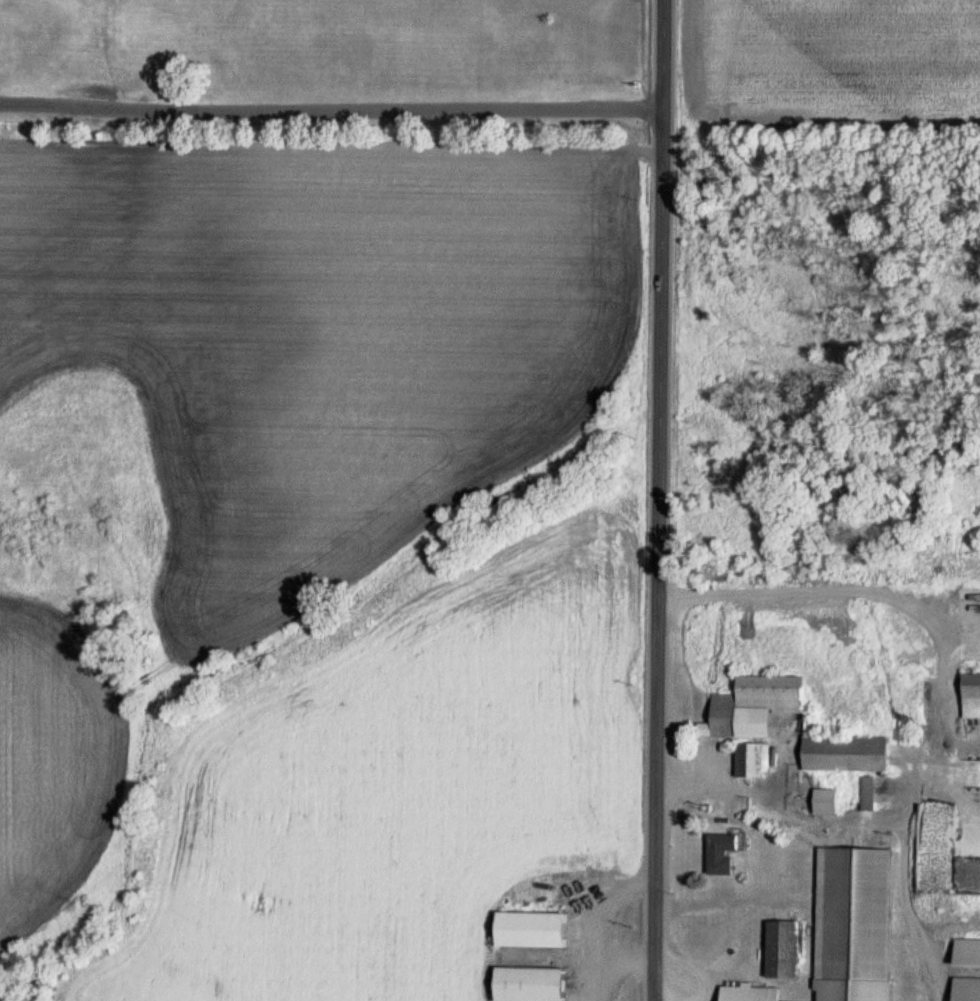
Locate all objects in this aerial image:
road: (330, 110)
road: (655, 500)
building: (968, 696)
road: (940, 705)
building: (748, 706)
building: (840, 754)
building: (748, 759)
building: (976, 769)
building: (968, 823)
building: (719, 852)
building: (930, 852)
road: (716, 898)
road: (904, 902)
building: (853, 914)
building: (527, 930)
building: (776, 949)
building: (964, 953)
building: (523, 984)
building: (963, 989)

